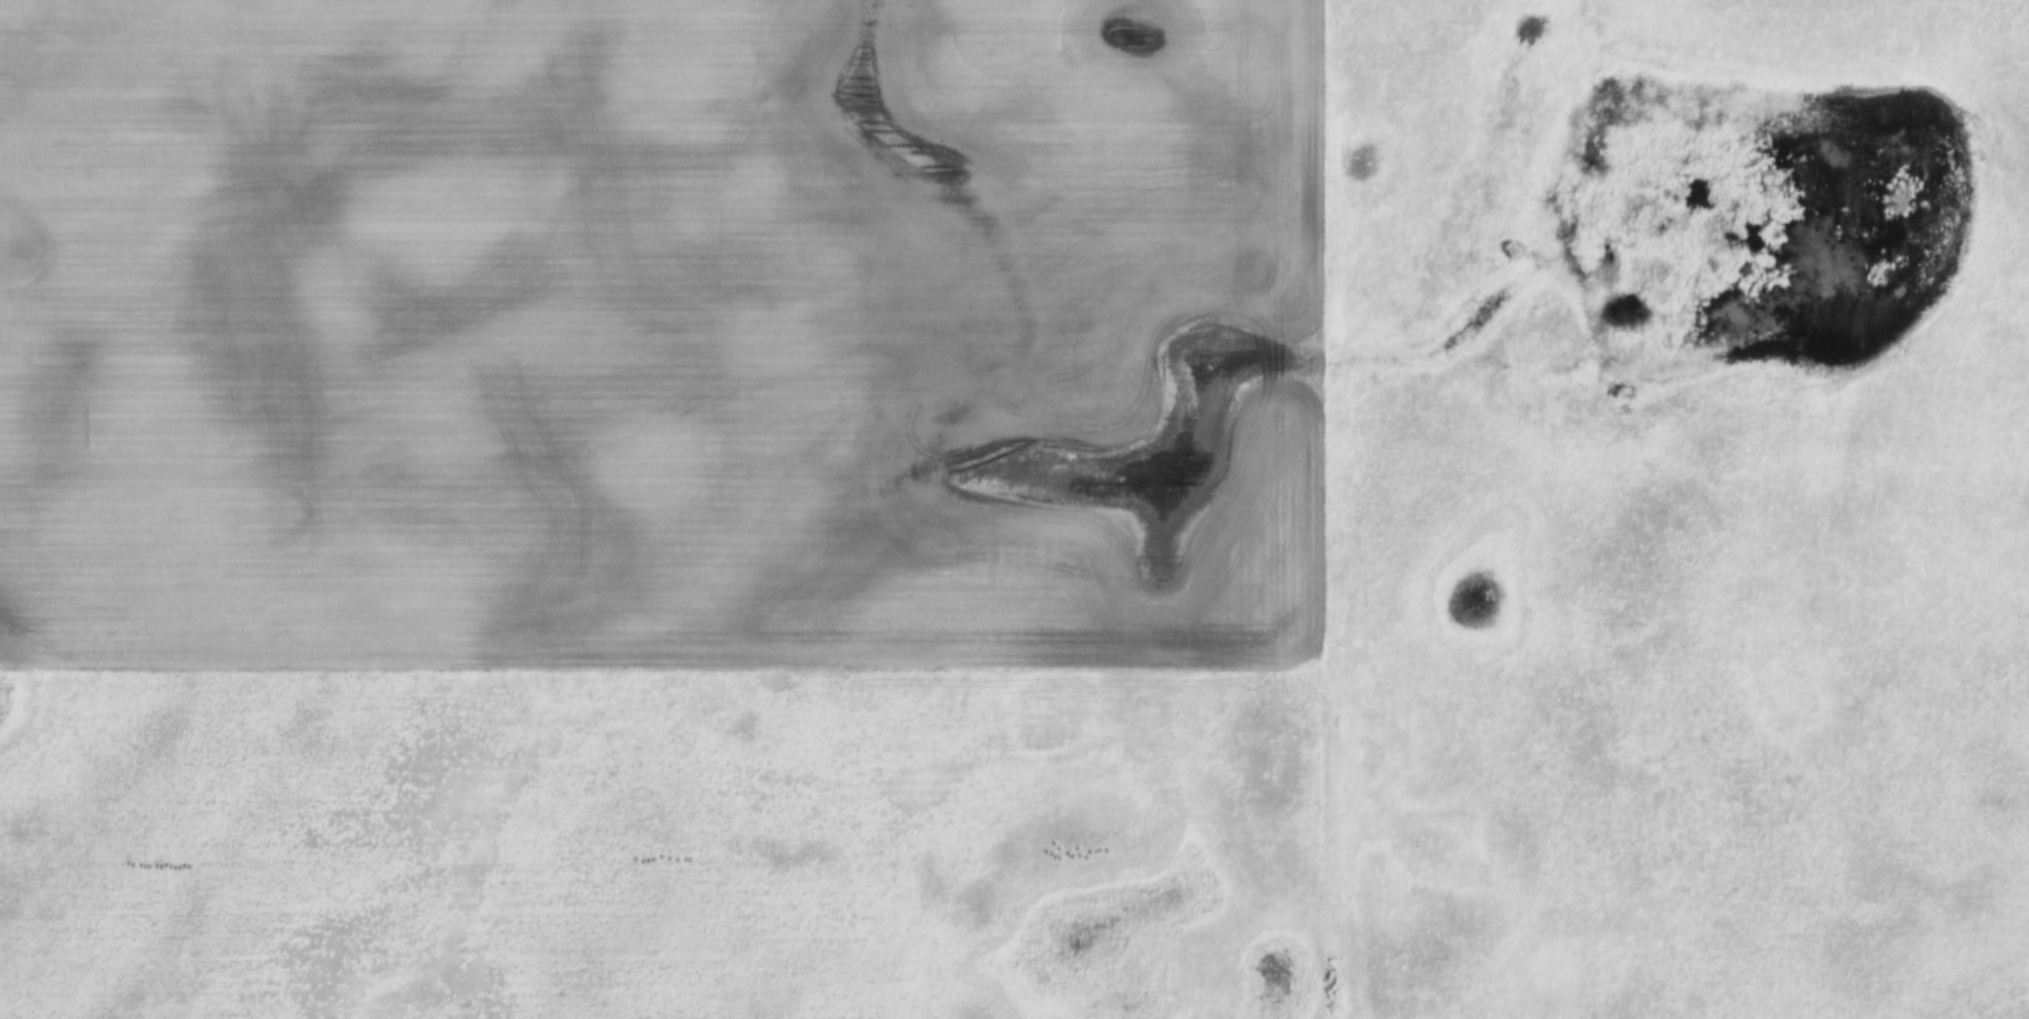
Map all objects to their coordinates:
road: (1332, 509)

